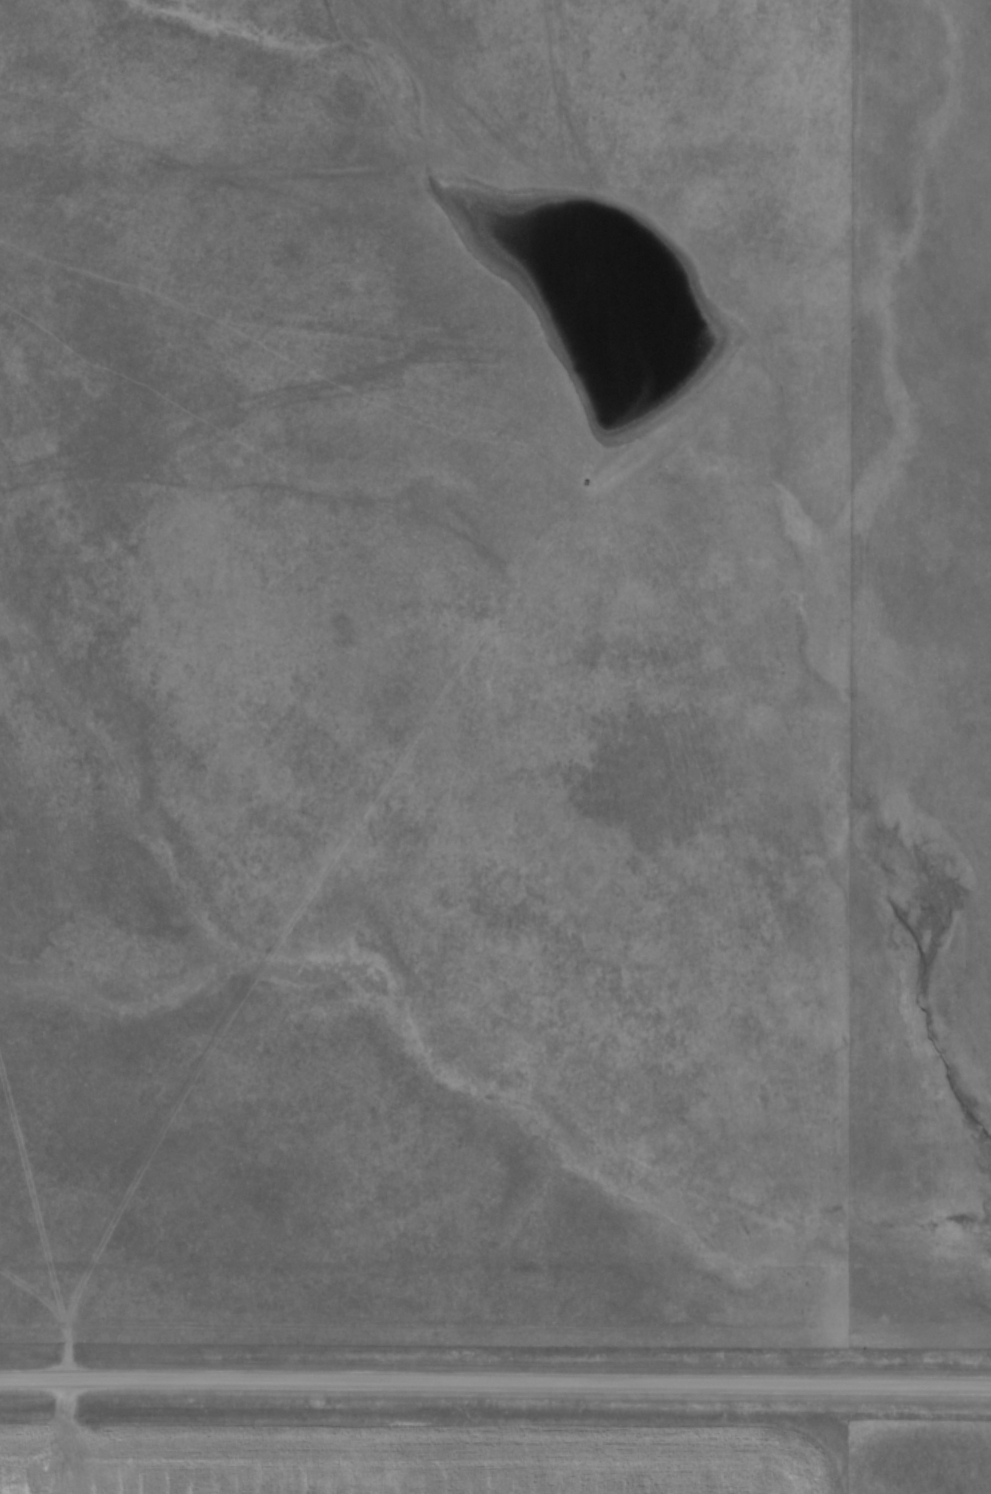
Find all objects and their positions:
dam: (667, 411)
road: (495, 1387)

